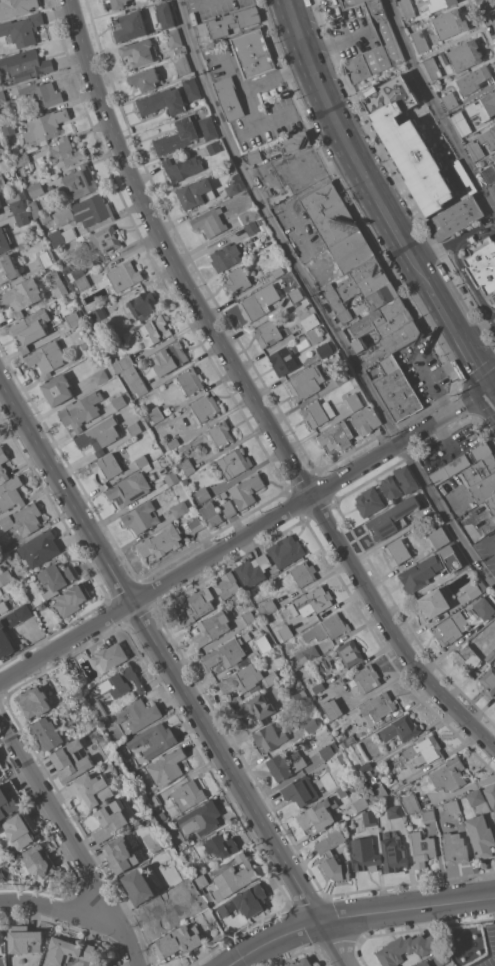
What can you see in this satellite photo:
building: (105, 0)
building: (424, 0)
building: (428, 0)
building: (347, 2)
building: (119, 3)
road: (193, 3)
building: (440, 4)
building: (16, 7)
building: (406, 8)
road: (491, 11)
building: (165, 14)
building: (234, 21)
building: (410, 21)
building: (451, 23)
building: (131, 26)
building: (23, 28)
building: (174, 37)
road: (491, 37)
building: (420, 40)
building: (376, 47)
building: (139, 51)
building: (253, 52)
building: (465, 54)
road: (410, 62)
building: (181, 63)
building: (25, 64)
building: (432, 67)
building: (145, 78)
building: (474, 79)
building: (191, 87)
road: (247, 89)
building: (42, 93)
building: (2, 96)
building: (229, 97)
building: (450, 100)
building: (162, 101)
building: (483, 106)
road: (435, 107)
building: (425, 120)
building: (461, 123)
building: (45, 125)
building: (208, 127)
building: (8, 128)
road: (251, 129)
building: (177, 136)
building: (489, 137)
building: (296, 142)
road: (351, 143)
building: (212, 147)
building: (1, 148)
building: (475, 149)
building: (65, 152)
building: (494, 155)
building: (254, 156)
building: (22, 158)
building: (182, 167)
building: (231, 169)
building: (489, 173)
building: (22, 177)
building: (1, 178)
building: (80, 180)
building: (234, 185)
building: (493, 187)
building: (35, 188)
building: (267, 191)
building: (196, 192)
building: (0, 196)
building: (0, 204)
building: (25, 209)
building: (0, 211)
building: (85, 211)
building: (249, 214)
building: (330, 214)
building: (456, 216)
building: (210, 221)
road: (417, 223)
building: (253, 225)
building: (62, 235)
road: (456, 237)
building: (106, 238)
building: (4, 239)
building: (352, 251)
building: (246, 252)
building: (225, 256)
building: (45, 258)
building: (482, 264)
building: (7, 268)
building: (66, 268)
building: (278, 271)
building: (124, 275)
building: (80, 278)
road: (467, 278)
building: (236, 279)
building: (365, 279)
building: (57, 283)
building: (295, 294)
building: (21, 295)
building: (333, 297)
building: (381, 297)
building: (259, 302)
building: (306, 302)
road: (318, 302)
building: (140, 305)
building: (97, 312)
building: (344, 317)
building: (378, 317)
building: (73, 318)
building: (310, 321)
building: (395, 323)
road: (477, 326)
building: (30, 328)
building: (154, 329)
road: (427, 331)
building: (268, 332)
road: (458, 334)
building: (314, 335)
building: (401, 336)
building: (360, 343)
building: (87, 346)
building: (324, 349)
building: (173, 354)
building: (47, 357)
building: (283, 359)
building: (130, 374)
building: (100, 375)
building: (341, 376)
building: (190, 380)
building: (306, 383)
road: (492, 386)
traffic signals: (490, 388)
building: (58, 389)
building: (397, 389)
road: (492, 391)
road: (250, 393)
building: (355, 399)
building: (119, 400)
building: (205, 408)
building: (81, 409)
building: (318, 411)
building: (156, 413)
building: (365, 419)
building: (134, 428)
road: (485, 432)
building: (221, 433)
building: (99, 434)
building: (337, 436)
building: (173, 442)
road: (403, 458)
building: (142, 460)
building: (233, 462)
building: (1, 464)
building: (458, 464)
building: (107, 466)
building: (187, 466)
building: (162, 469)
building: (478, 471)
building: (153, 476)
building: (171, 477)
building: (406, 478)
building: (390, 487)
building: (130, 488)
building: (482, 489)
building: (247, 490)
road: (65, 491)
building: (10, 493)
building: (203, 494)
road: (311, 497)
building: (369, 501)
building: (491, 504)
building: (179, 508)
building: (228, 508)
building: (211, 513)
building: (141, 516)
building: (392, 517)
building: (23, 518)
building: (196, 523)
building: (439, 536)
building: (161, 541)
building: (3, 547)
building: (39, 548)
building: (286, 550)
building: (397, 552)
building: (457, 564)
building: (253, 569)
building: (304, 572)
building: (419, 573)
building: (5, 576)
building: (57, 577)
building: (227, 584)
building: (477, 588)
building: (72, 598)
building: (314, 600)
building: (432, 603)
building: (196, 605)
building: (485, 605)
building: (3, 606)
building: (267, 607)
building: (249, 617)
road: (403, 621)
building: (211, 627)
building: (327, 627)
building: (451, 627)
building: (285, 631)
building: (6, 639)
road: (65, 642)
building: (263, 643)
building: (350, 652)
building: (225, 653)
building: (276, 653)
building: (490, 655)
building: (109, 656)
building: (303, 656)
building: (467, 657)
building: (366, 677)
building: (247, 678)
building: (489, 680)
building: (121, 682)
building: (317, 686)
building: (298, 697)
building: (235, 700)
building: (34, 701)
building: (378, 705)
building: (332, 707)
building: (255, 708)
building: (99, 710)
building: (137, 713)
building: (311, 724)
building: (400, 728)
building: (48, 732)
building: (269, 736)
building: (344, 736)
building: (153, 739)
building: (318, 739)
building: (429, 747)
building: (332, 751)
building: (71, 760)
road: (226, 762)
building: (286, 764)
building: (167, 766)
building: (366, 766)
building: (448, 774)
building: (91, 789)
building: (300, 790)
building: (342, 791)
building: (380, 791)
building: (490, 793)
building: (188, 794)
building: (475, 796)
building: (8, 798)
building: (153, 802)
building: (411, 802)
building: (359, 803)
building: (452, 805)
building: (394, 811)
building: (318, 814)
building: (428, 815)
building: (369, 817)
road: (56, 818)
building: (111, 819)
building: (159, 819)
building: (199, 820)
building: (138, 821)
building: (20, 829)
building: (481, 836)
building: (221, 845)
building: (422, 848)
building: (454, 848)
building: (155, 850)
building: (199, 852)
building: (393, 853)
building: (121, 854)
building: (333, 854)
building: (365, 854)
building: (41, 862)
building: (207, 862)
building: (233, 877)
building: (200, 880)
building: (139, 885)
road: (494, 897)
building: (246, 900)
road: (408, 906)
road: (56, 907)
building: (1, 935)
building: (25, 938)
road: (274, 938)
building: (178, 940)
road: (124, 941)
road: (334, 944)
building: (408, 948)
building: (68, 950)
building: (440, 957)
building: (300, 962)
building: (425, 963)

